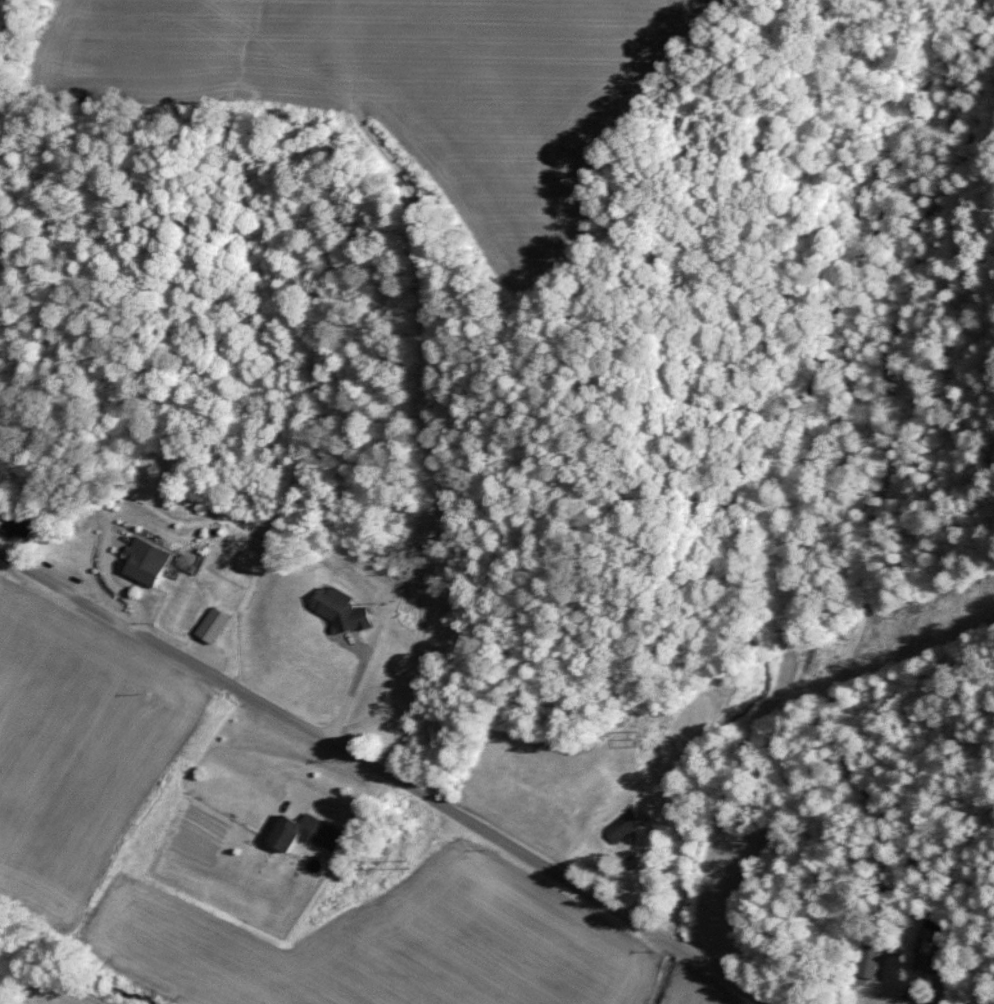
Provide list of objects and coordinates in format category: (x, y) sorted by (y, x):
building: (15, 524)
building: (142, 561)
building: (337, 609)
road: (352, 697)
building: (387, 719)
road: (386, 774)
building: (619, 825)
building: (300, 832)
building: (928, 947)
building: (866, 959)

